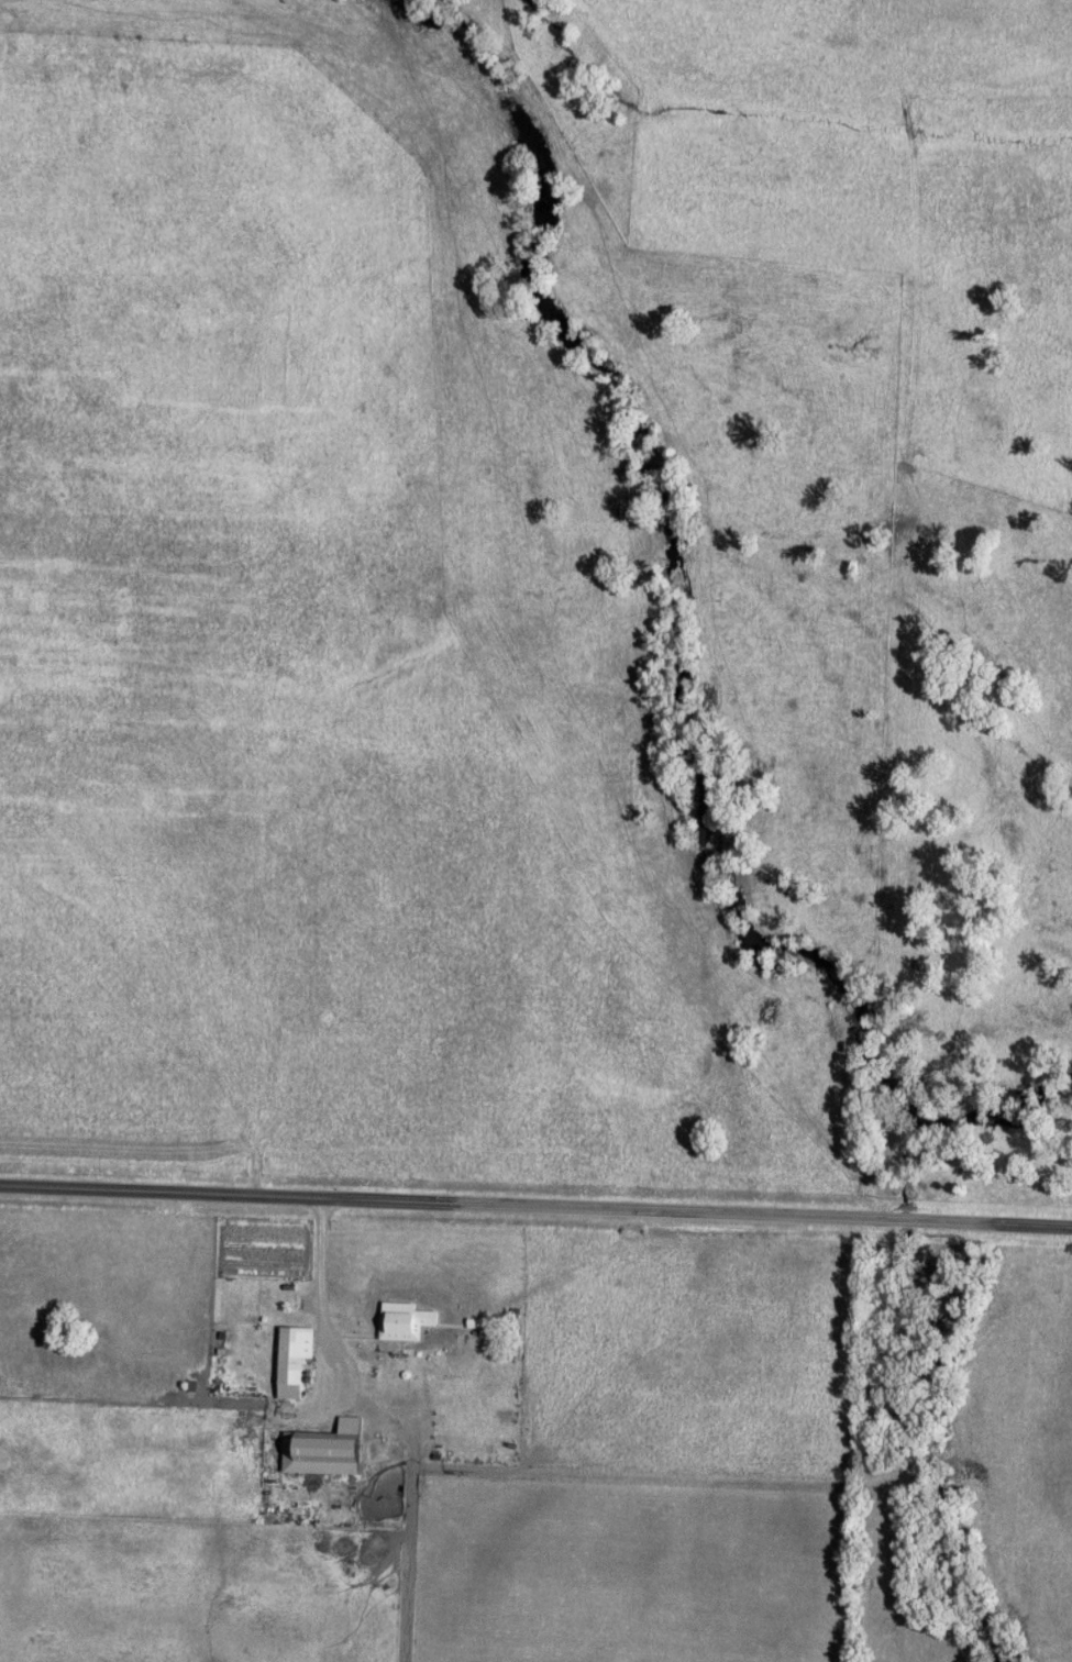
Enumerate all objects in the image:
road: (535, 1200)
building: (292, 1356)

